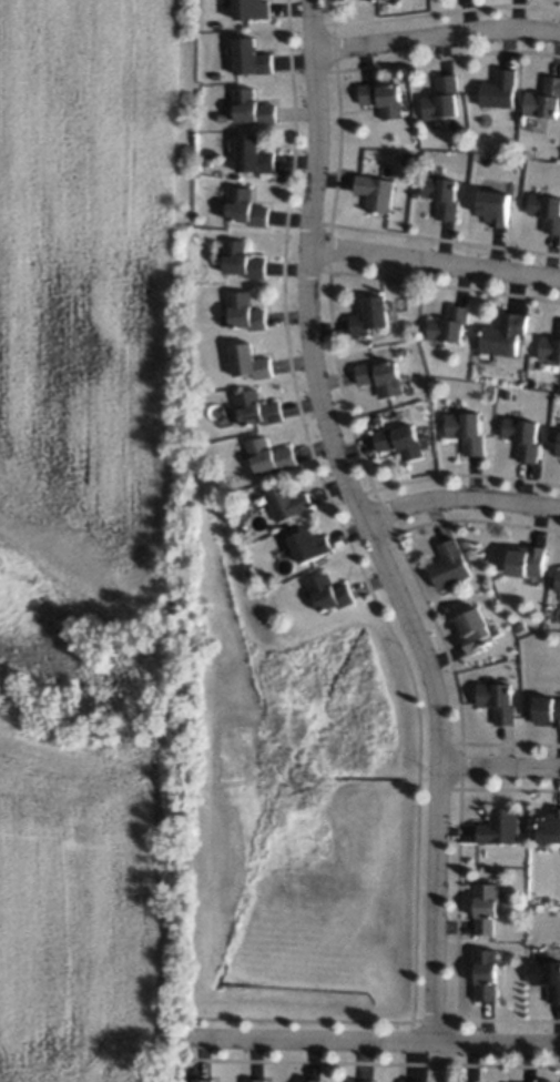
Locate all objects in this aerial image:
building: (251, 9)
road: (437, 33)
building: (250, 57)
building: (499, 89)
building: (383, 98)
building: (442, 98)
building: (544, 99)
building: (251, 108)
building: (252, 154)
building: (376, 191)
building: (442, 195)
building: (244, 206)
building: (495, 206)
building: (546, 211)
building: (241, 260)
road: (435, 262)
building: (244, 311)
building: (370, 315)
building: (449, 324)
building: (503, 333)
building: (550, 347)
building: (248, 361)
building: (381, 376)
building: (256, 407)
building: (466, 429)
building: (522, 436)
building: (399, 441)
building: (559, 448)
building: (268, 455)
road: (462, 497)
building: (287, 502)
road: (368, 522)
building: (309, 544)
building: (526, 559)
building: (449, 564)
building: (557, 579)
building: (328, 593)
building: (474, 628)
building: (497, 700)
building: (547, 710)
road: (500, 768)
building: (500, 826)
building: (550, 826)
building: (486, 908)
building: (486, 974)
building: (547, 977)
road: (377, 1042)
building: (203, 1080)
building: (256, 1080)
building: (362, 1081)
building: (415, 1081)

